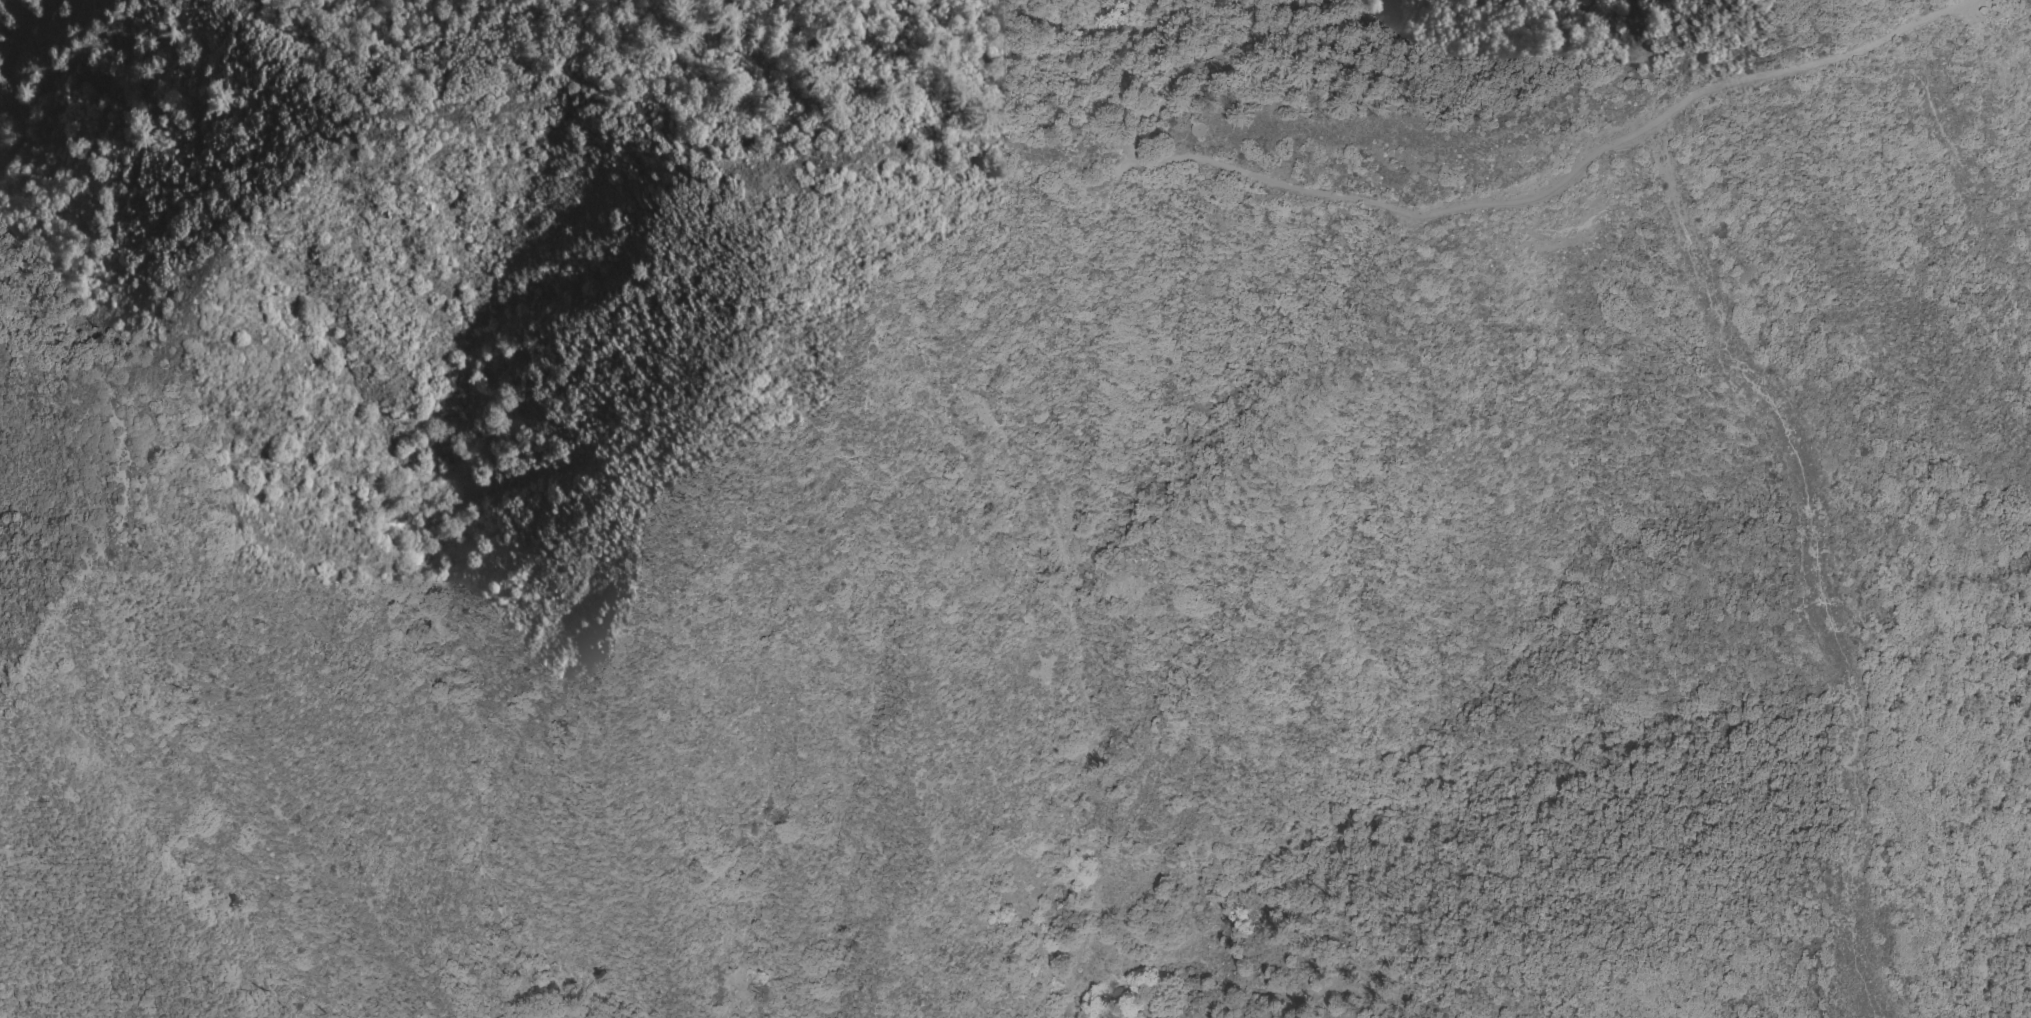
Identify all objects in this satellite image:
road: (1163, 26)
road: (22, 82)
road: (1449, 136)
road: (1414, 213)
road: (1734, 361)
road: (1848, 813)

